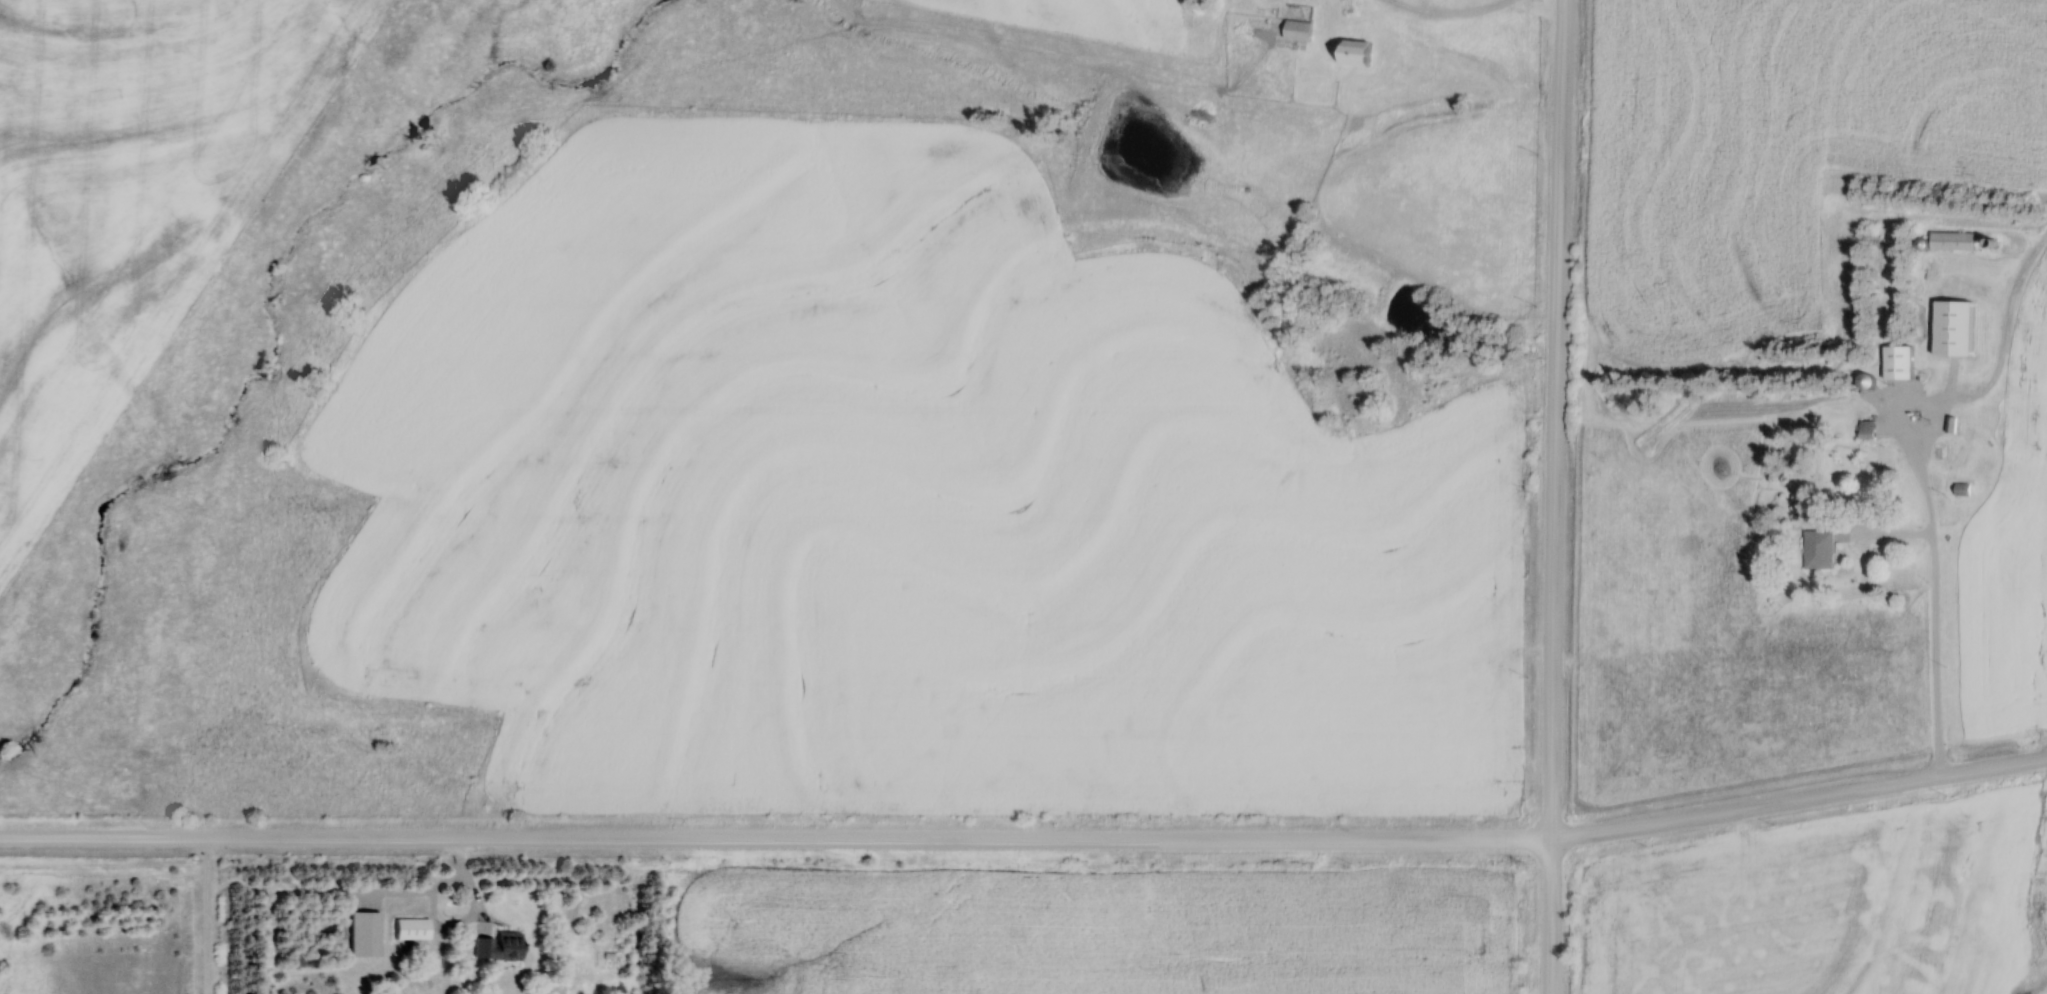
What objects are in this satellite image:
building: (1294, 29)
building: (1349, 53)
building: (1949, 240)
building: (1949, 327)
building: (1894, 361)
building: (1864, 428)
building: (1960, 489)
road: (1554, 496)
building: (1816, 549)
road: (1027, 839)
building: (414, 928)
building: (367, 933)
building: (503, 945)

